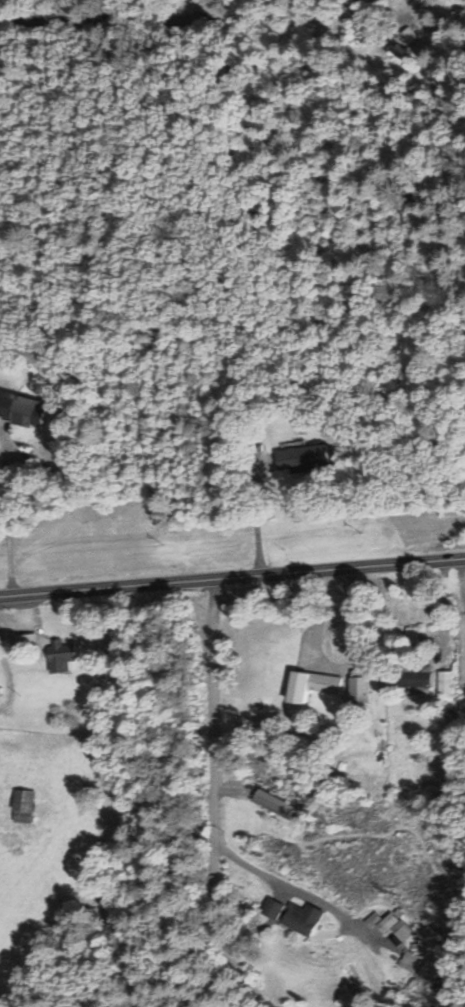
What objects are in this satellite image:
road: (101, 15)
building: (22, 410)
building: (301, 459)
road: (232, 581)
building: (25, 642)
building: (60, 655)
building: (415, 677)
building: (444, 682)
building: (311, 685)
building: (359, 687)
road: (211, 802)
building: (274, 805)
building: (22, 806)
building: (296, 917)

